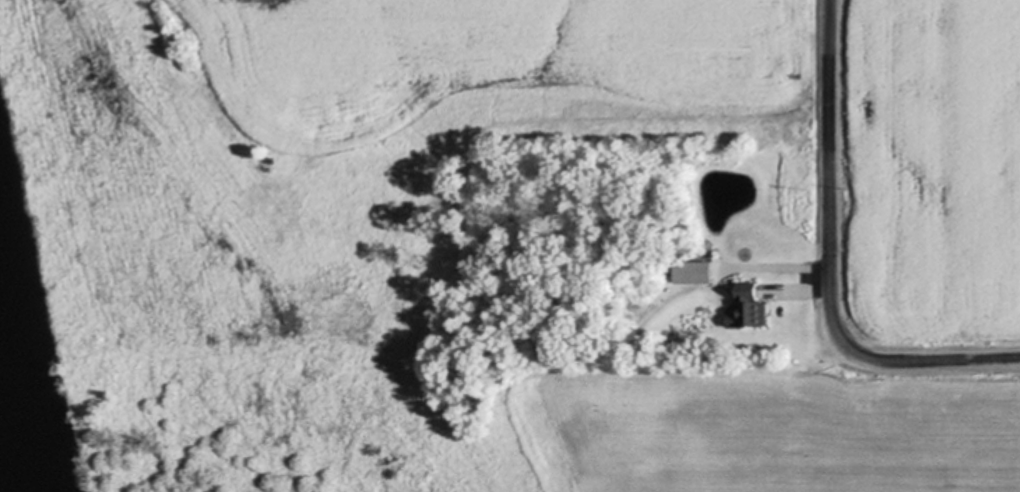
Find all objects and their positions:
road: (828, 264)
building: (692, 272)
building: (748, 306)
river: (13, 431)

